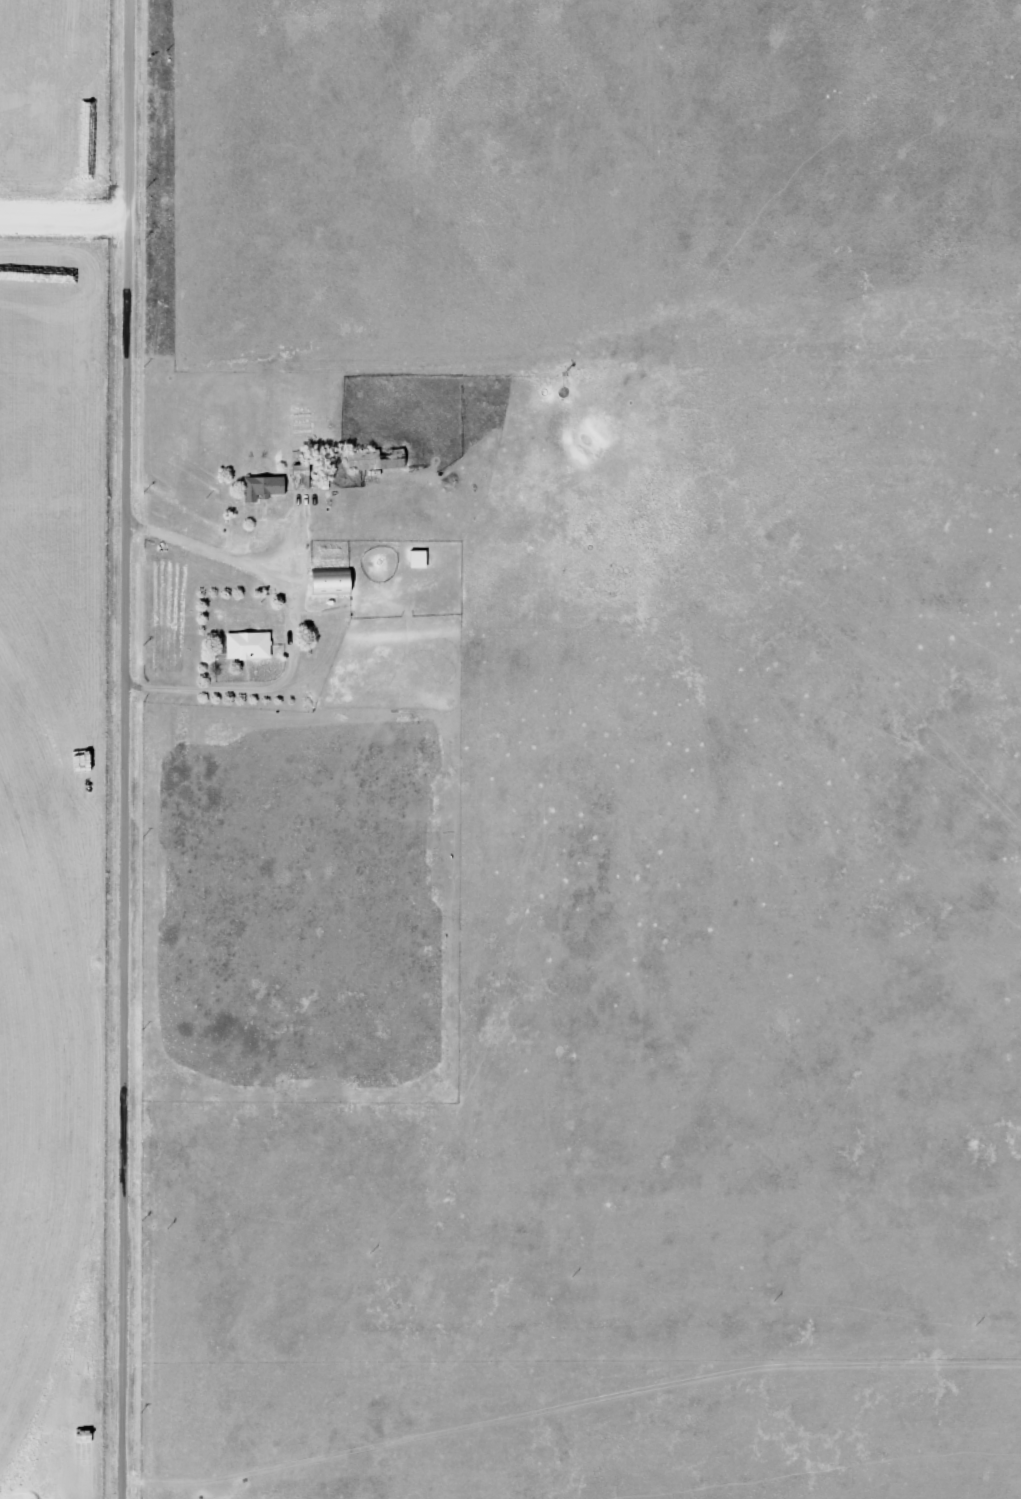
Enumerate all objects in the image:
road: (132, 749)

